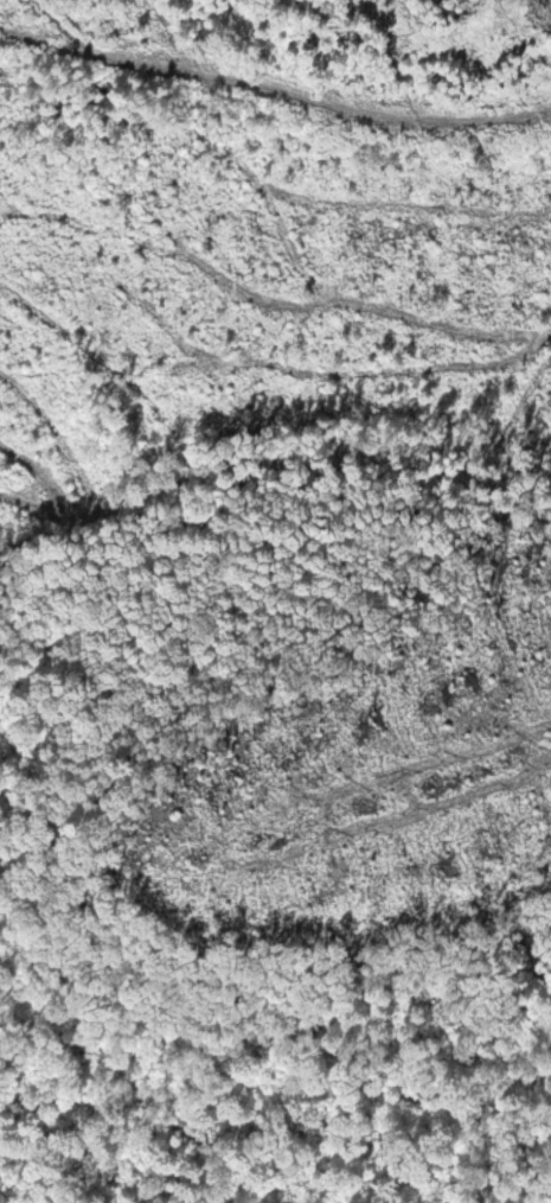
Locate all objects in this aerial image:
road: (369, 70)

